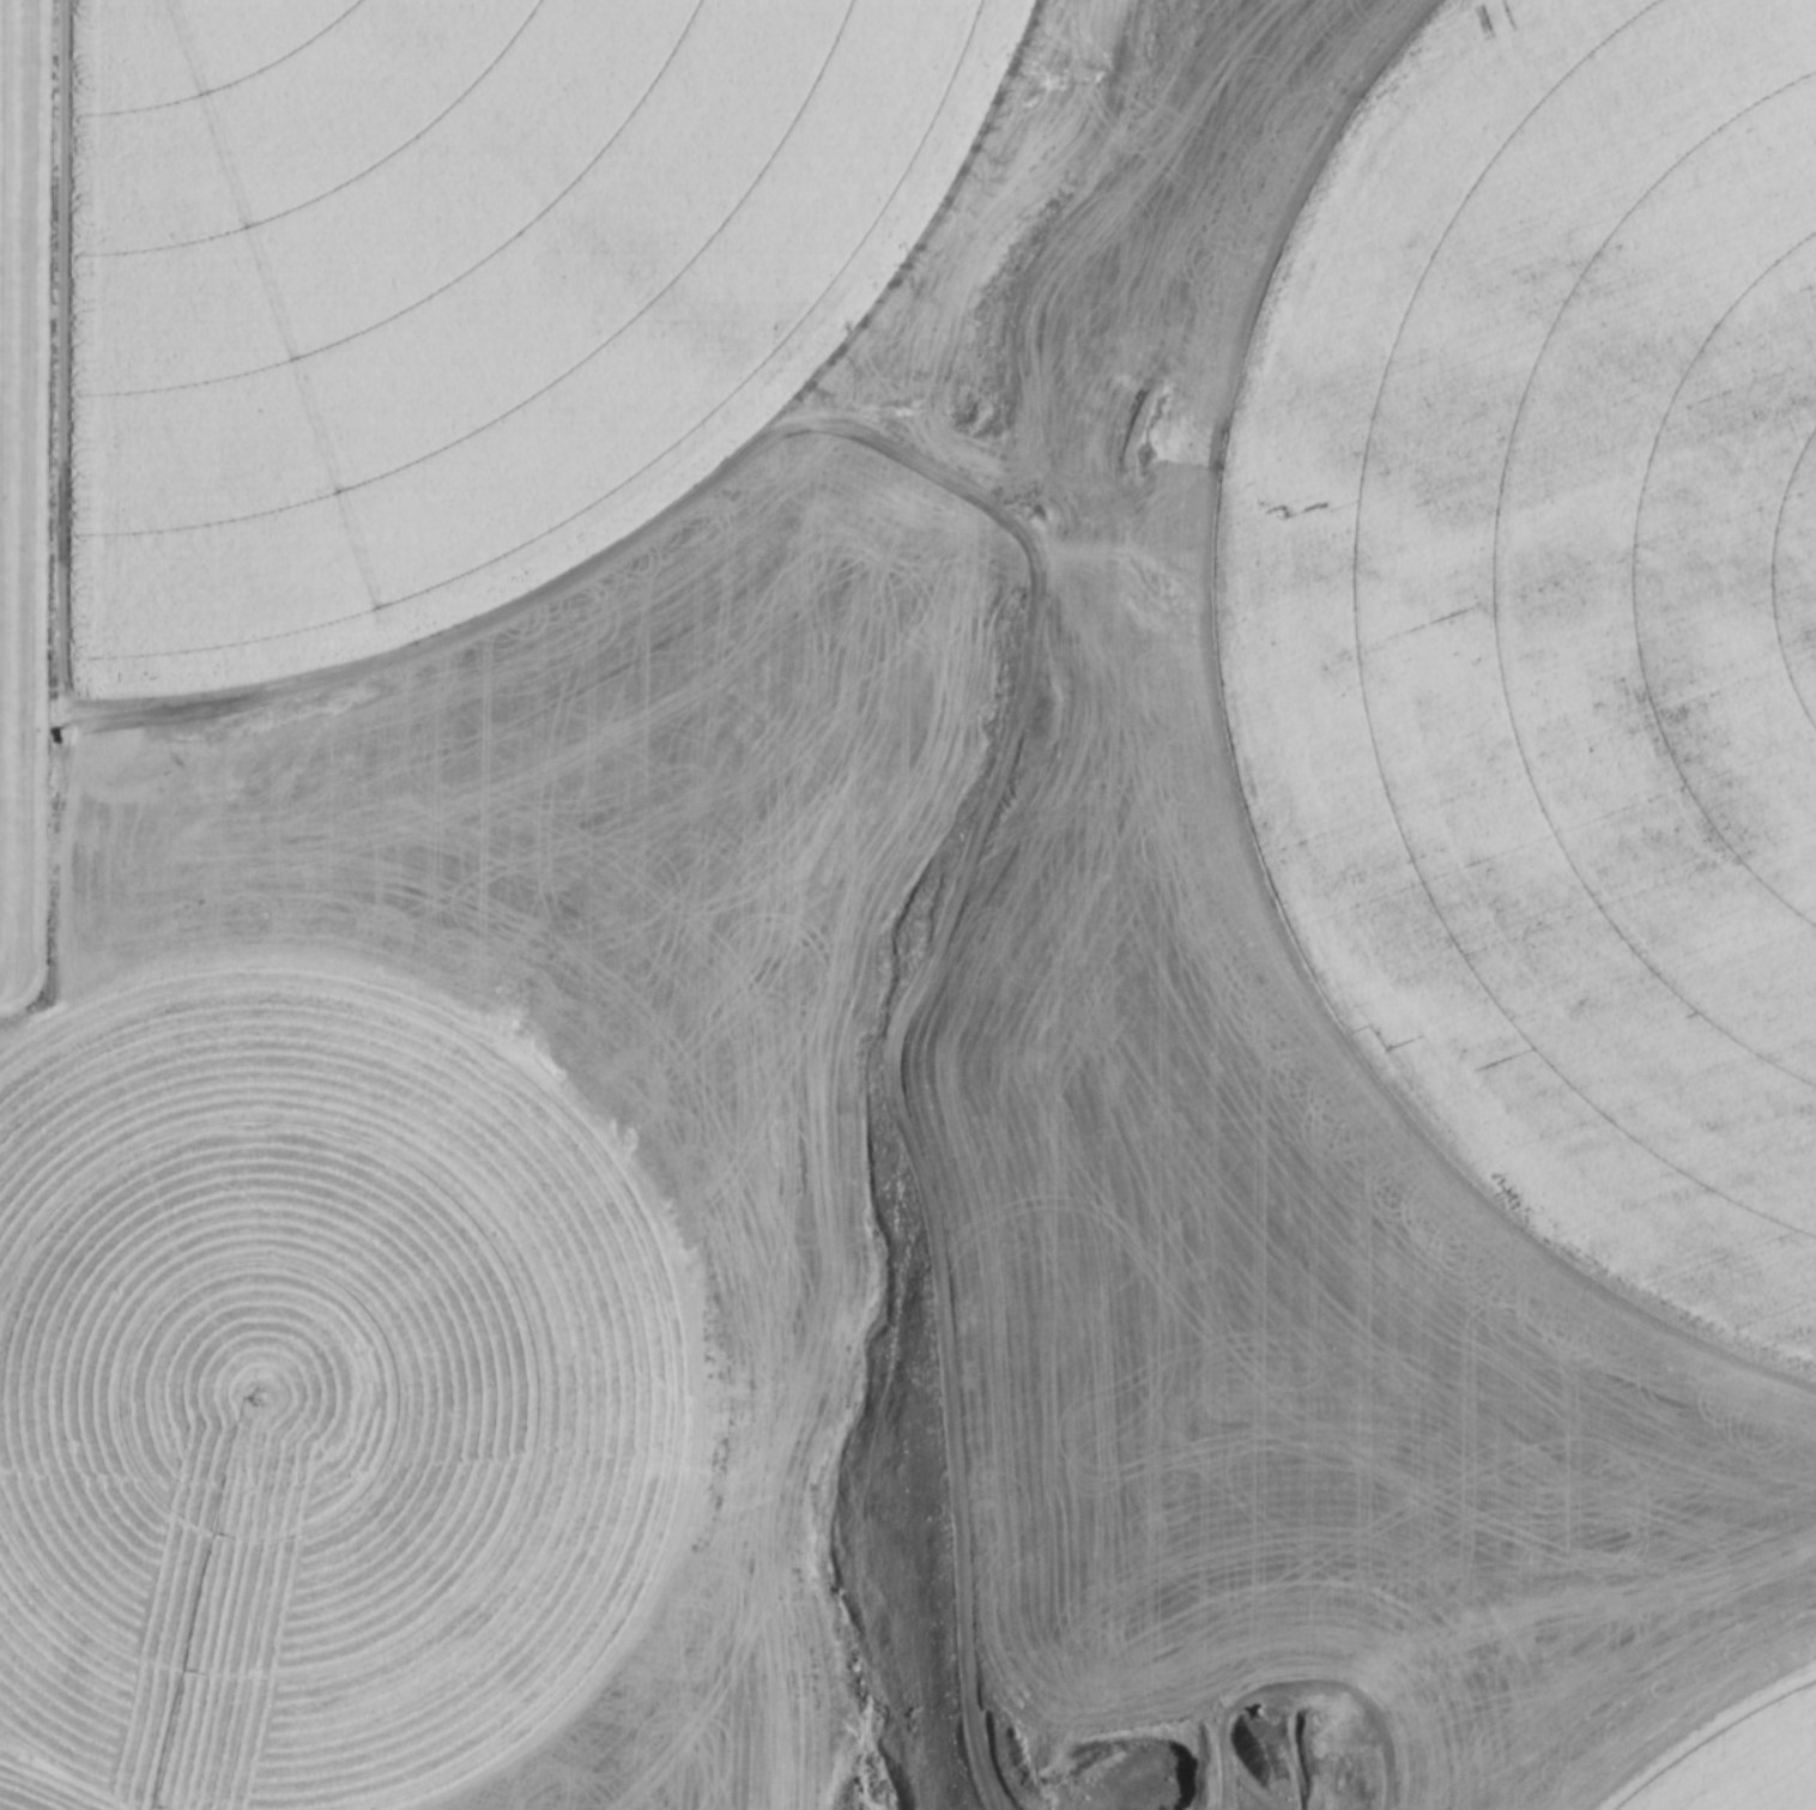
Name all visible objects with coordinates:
crop: (1576, 624)
crop: (331, 1397)
crop: (1748, 1764)
crop: (35, 1791)

